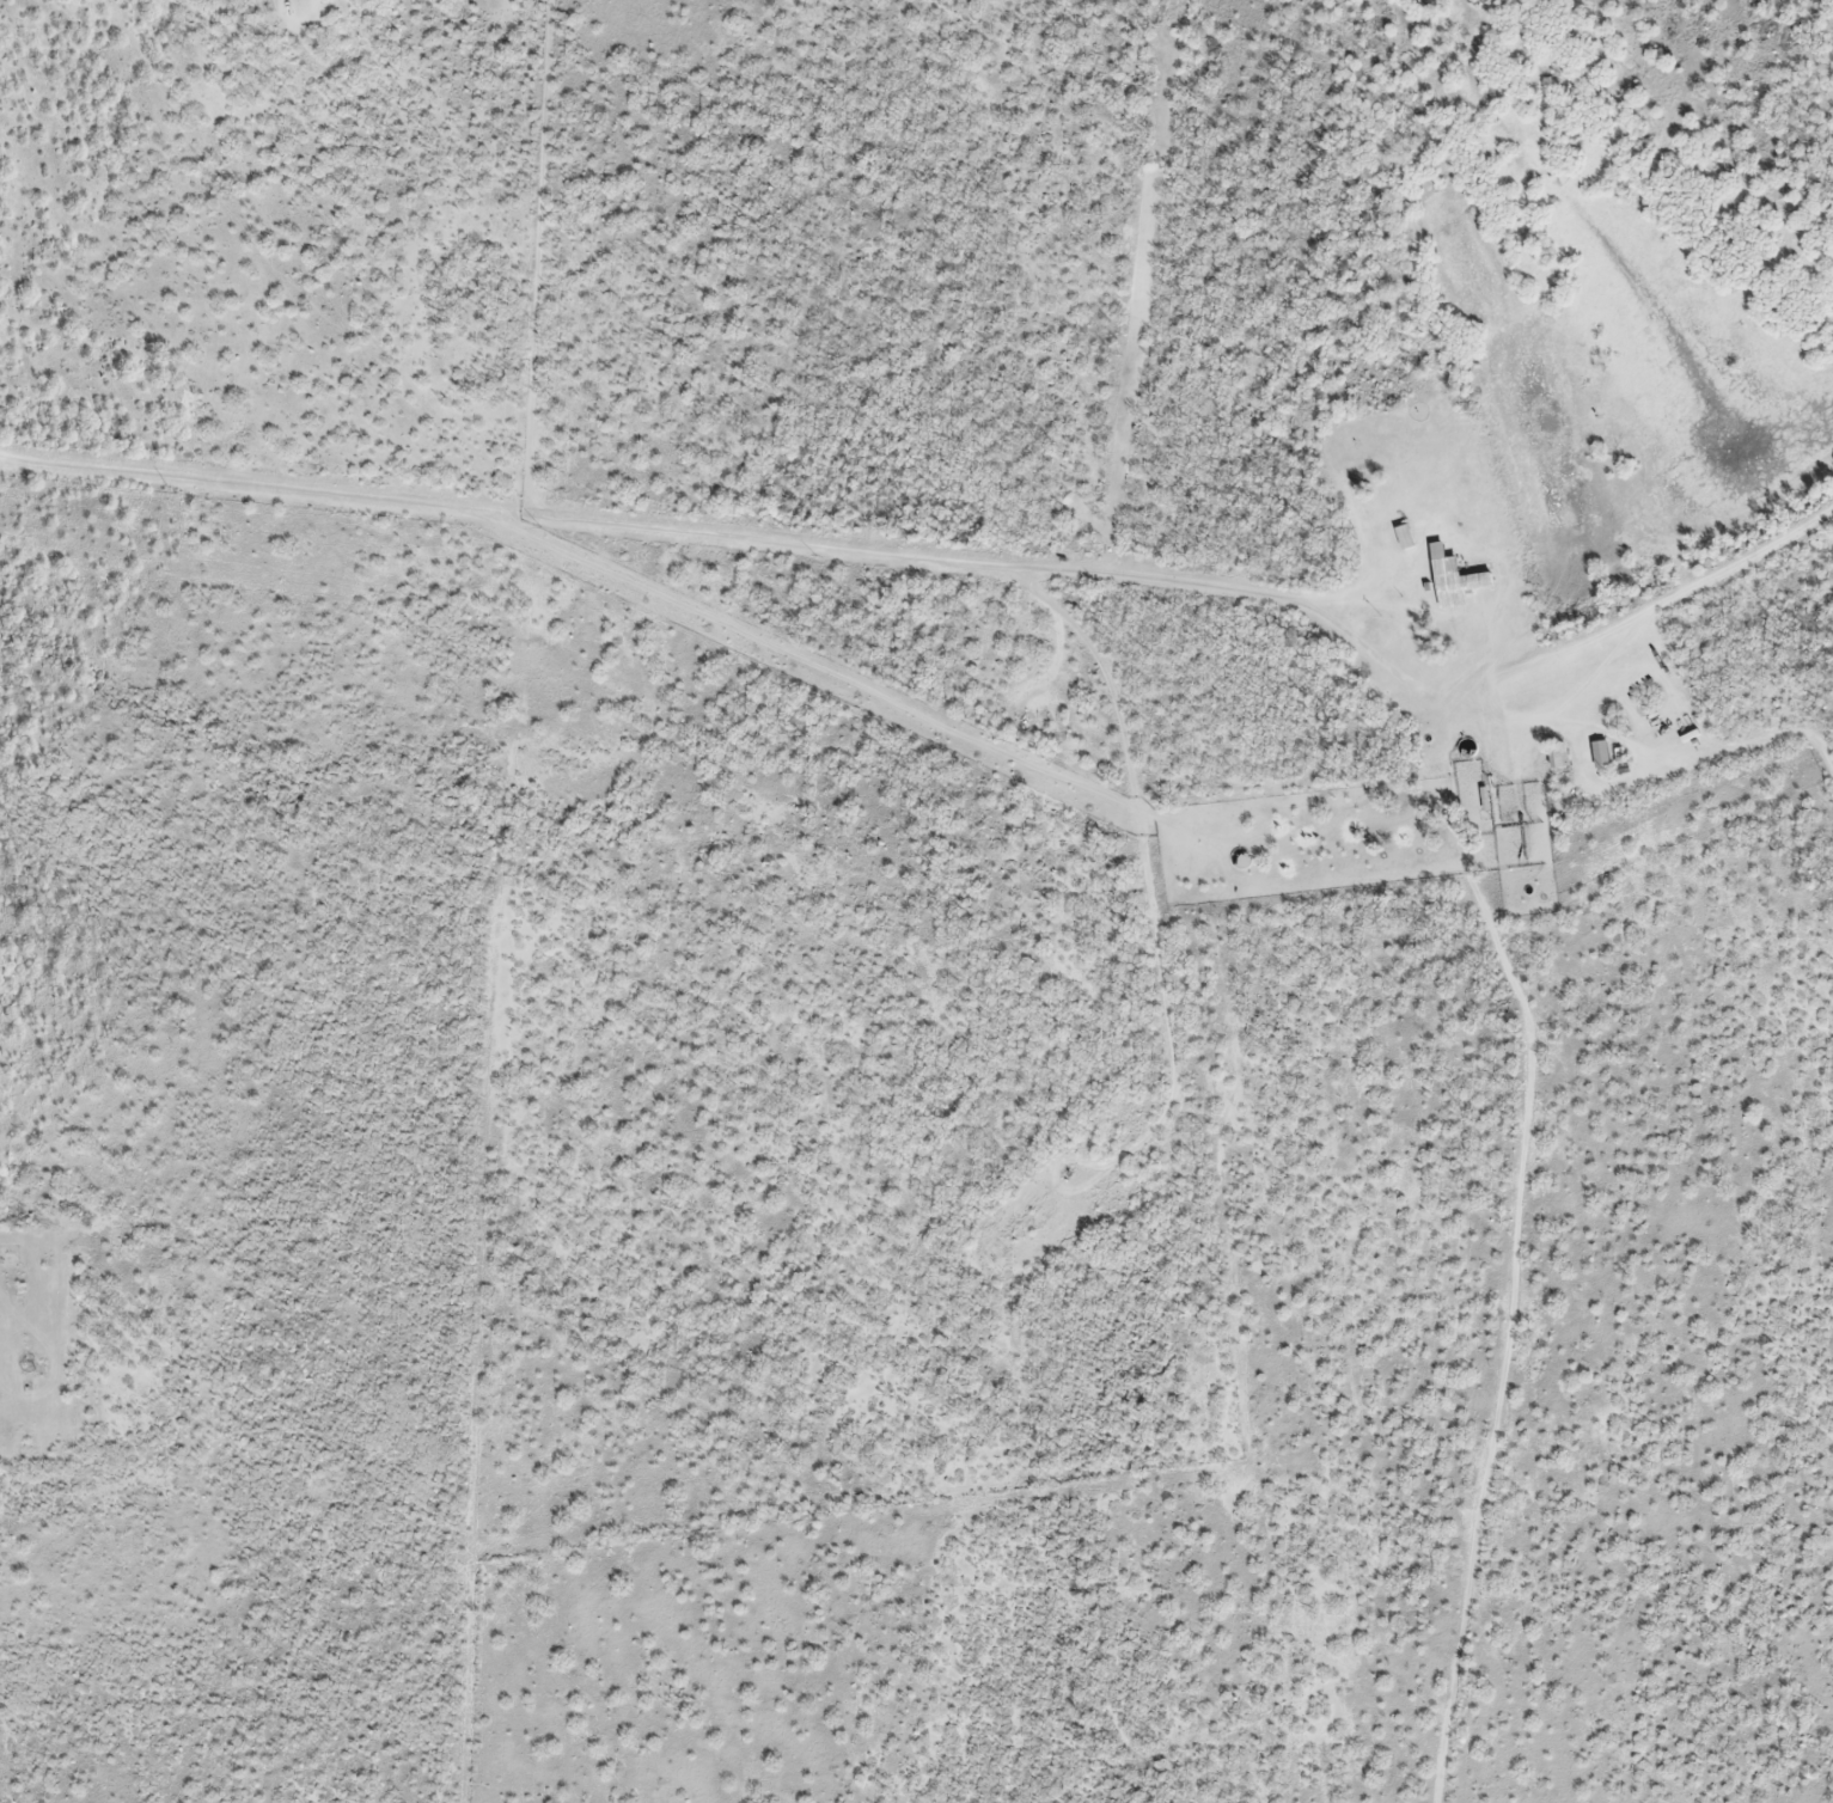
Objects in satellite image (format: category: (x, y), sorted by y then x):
road: (958, 573)
building: (1455, 597)
building: (1605, 746)

